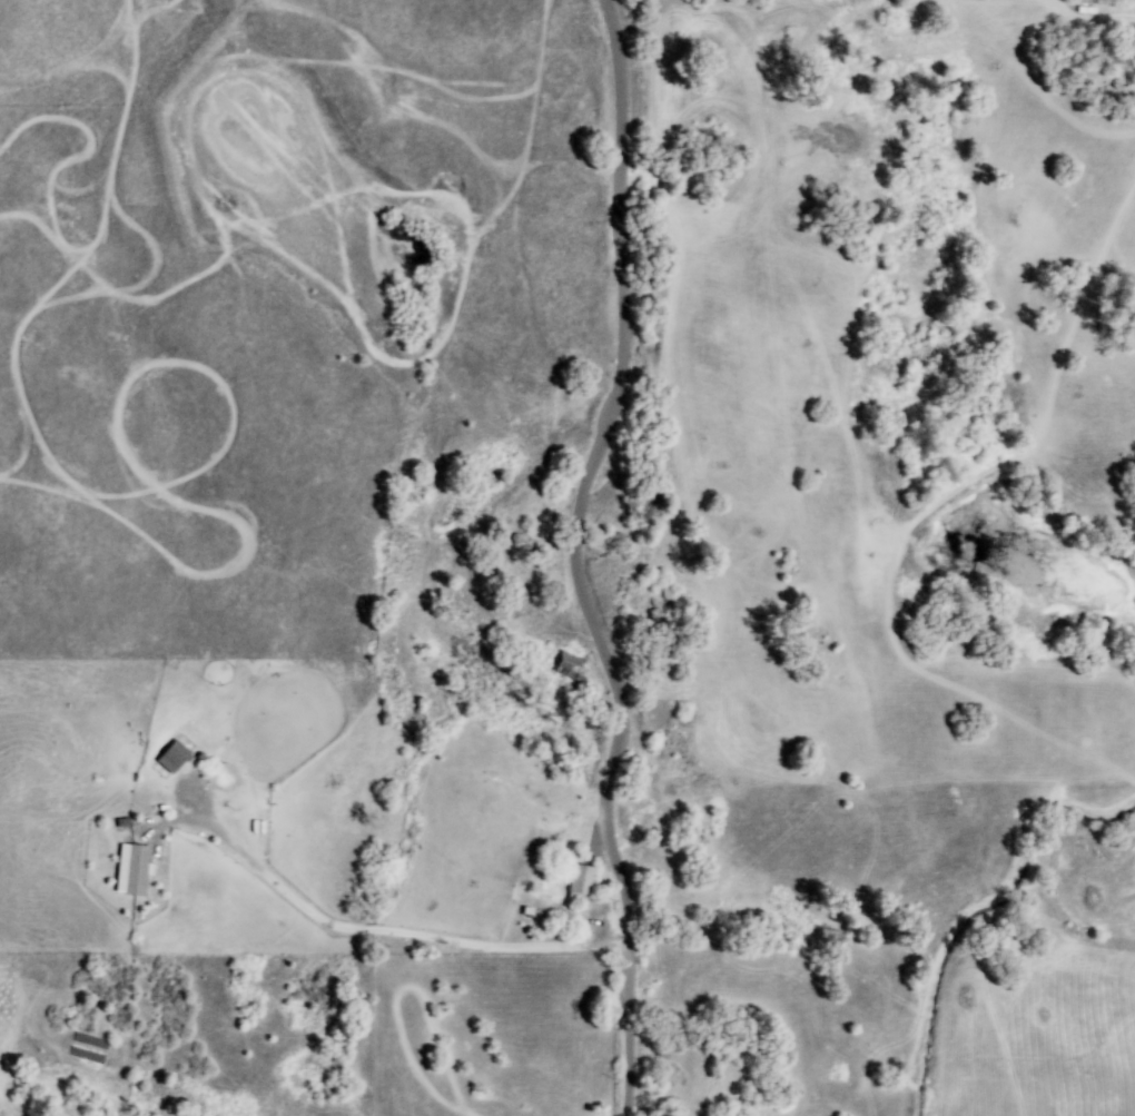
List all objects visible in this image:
building: (569, 666)
building: (171, 757)
building: (131, 869)
building: (578, 882)
road: (373, 930)
road: (628, 1031)

